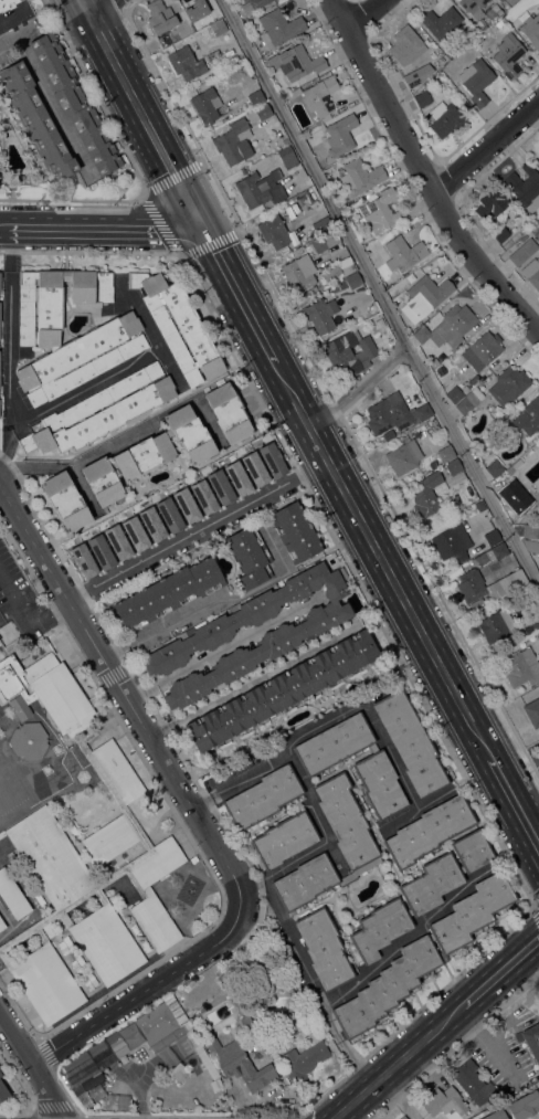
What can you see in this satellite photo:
building: (8, 4)
building: (252, 4)
road: (84, 7)
road: (96, 7)
building: (472, 7)
building: (195, 10)
road: (14, 12)
road: (360, 14)
building: (159, 17)
building: (440, 21)
building: (498, 23)
building: (218, 27)
building: (278, 27)
building: (531, 30)
building: (404, 45)
building: (508, 55)
building: (214, 59)
building: (298, 62)
building: (186, 63)
building: (416, 75)
building: (436, 78)
building: (476, 81)
building: (317, 96)
building: (256, 97)
road: (45, 98)
building: (422, 99)
building: (74, 103)
building: (205, 105)
building: (258, 113)
building: (445, 118)
road: (145, 119)
building: (36, 122)
building: (339, 135)
building: (233, 141)
building: (283, 142)
road: (485, 145)
building: (287, 157)
building: (538, 161)
road: (422, 175)
building: (359, 176)
building: (525, 187)
building: (258, 188)
building: (303, 199)
building: (490, 203)
building: (381, 210)
road: (159, 224)
road: (6, 226)
road: (106, 226)
traffic signals: (202, 226)
building: (317, 228)
building: (273, 231)
building: (536, 231)
building: (499, 233)
building: (324, 242)
building: (295, 251)
building: (522, 251)
building: (403, 253)
building: (346, 266)
building: (416, 272)
building: (531, 272)
building: (299, 273)
building: (331, 273)
building: (411, 277)
building: (353, 281)
building: (309, 291)
road: (239, 295)
road: (378, 295)
building: (424, 297)
building: (320, 314)
building: (178, 325)
building: (448, 327)
building: (96, 340)
road: (9, 342)
building: (486, 347)
building: (349, 355)
building: (508, 386)
building: (205, 388)
road: (360, 390)
building: (456, 393)
building: (468, 401)
building: (101, 412)
building: (229, 413)
building: (393, 413)
building: (528, 416)
road: (89, 453)
building: (446, 453)
building: (148, 456)
building: (403, 457)
building: (271, 460)
building: (453, 466)
building: (253, 468)
building: (494, 468)
building: (242, 478)
building: (506, 479)
building: (219, 487)
building: (426, 495)
building: (202, 496)
road: (7, 497)
building: (65, 502)
building: (186, 505)
building: (109, 522)
road: (211, 524)
building: (135, 529)
building: (530, 530)
building: (295, 532)
building: (492, 537)
building: (451, 541)
building: (531, 546)
building: (499, 555)
building: (250, 557)
building: (83, 561)
road: (383, 561)
building: (501, 585)
building: (168, 593)
road: (24, 619)
building: (533, 623)
building: (495, 625)
road: (161, 627)
building: (284, 635)
building: (535, 636)
road: (220, 652)
building: (521, 667)
road: (109, 676)
road: (253, 680)
building: (282, 690)
road: (350, 704)
building: (19, 707)
road: (131, 709)
building: (532, 711)
building: (29, 740)
building: (410, 742)
building: (332, 745)
building: (379, 784)
building: (262, 798)
road: (200, 801)
road: (516, 802)
building: (429, 831)
road: (323, 833)
building: (115, 837)
building: (283, 838)
road: (189, 841)
building: (355, 842)
road: (249, 885)
building: (419, 895)
building: (11, 896)
building: (1, 925)
road: (405, 936)
building: (324, 949)
building: (423, 954)
road: (303, 961)
road: (500, 969)
road: (139, 993)
building: (282, 1001)
road: (1, 1016)
building: (161, 1024)
building: (130, 1035)
building: (530, 1039)
road: (18, 1042)
building: (114, 1054)
road: (399, 1060)
building: (303, 1062)
road: (357, 1062)
building: (237, 1063)
building: (78, 1069)
building: (177, 1073)
road: (38, 1074)
building: (0, 1075)
building: (471, 1081)
building: (538, 1088)
building: (2, 1091)
road: (51, 1100)
building: (442, 1101)
building: (522, 1105)
building: (495, 1113)
building: (402, 1117)

